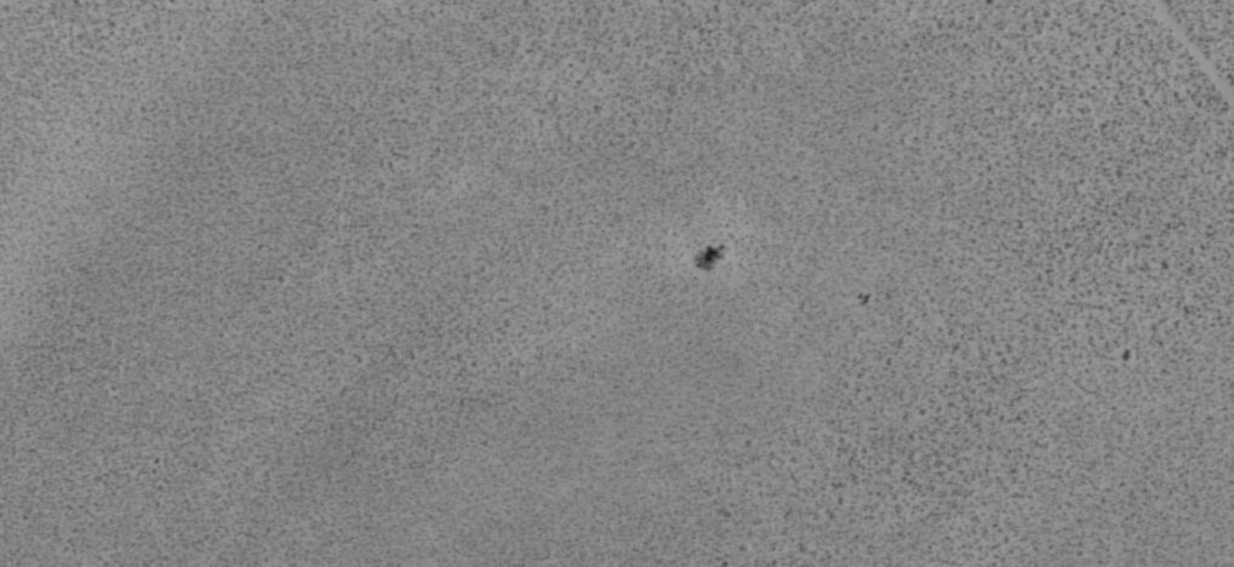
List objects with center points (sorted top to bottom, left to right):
road: (1202, 35)

